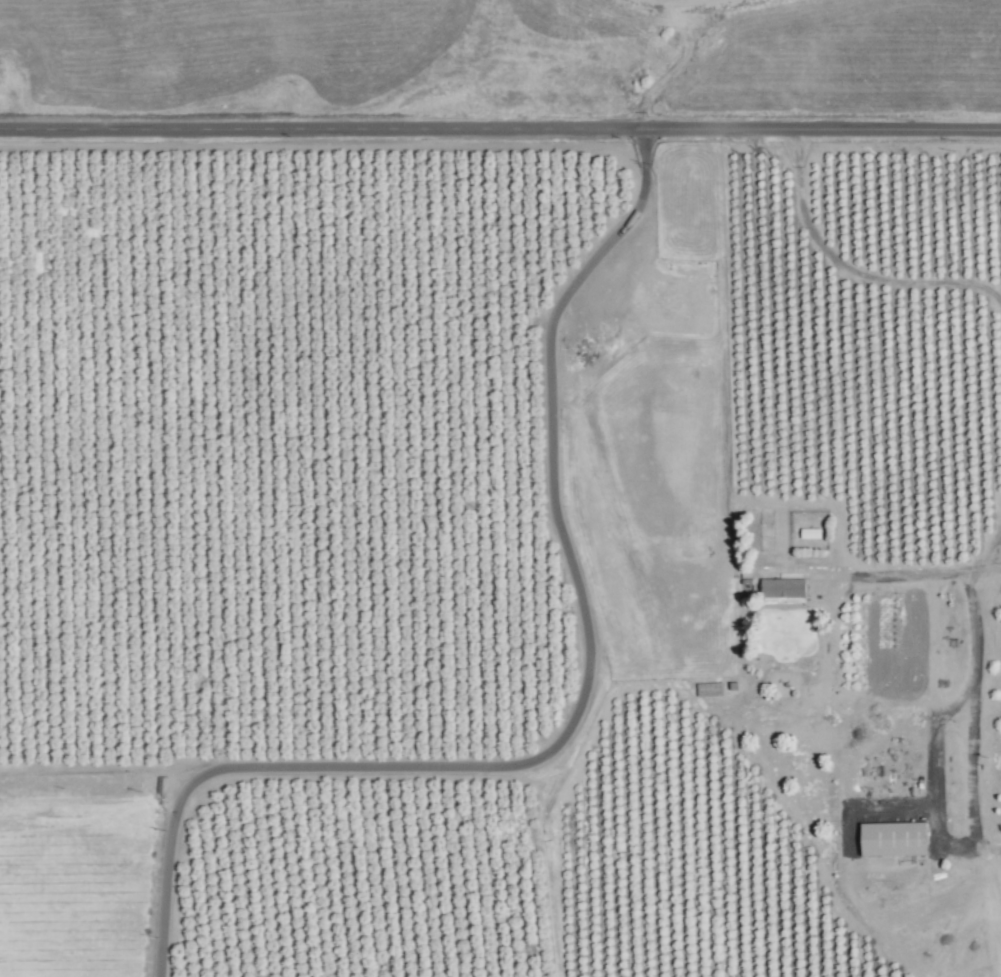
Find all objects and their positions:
road: (500, 129)
road: (852, 267)
building: (810, 533)
road: (984, 561)
road: (893, 574)
crop: (326, 588)
building: (783, 588)
road: (967, 591)
building: (709, 690)
road: (577, 707)
building: (894, 839)
road: (984, 842)
road: (949, 843)

